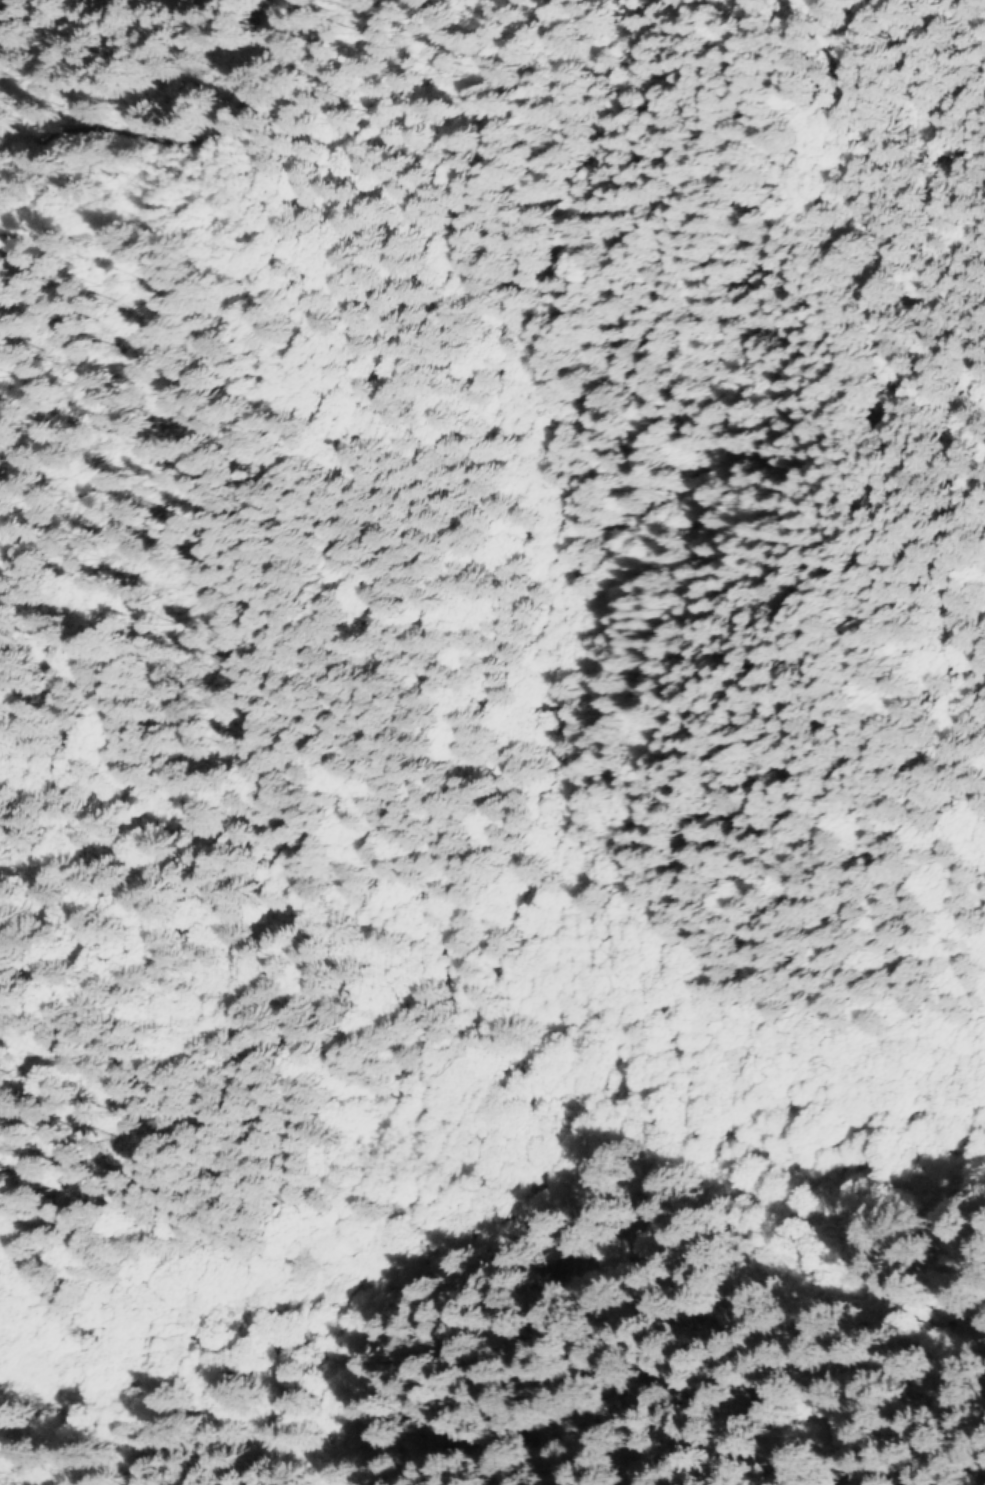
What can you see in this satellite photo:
road: (179, 118)

